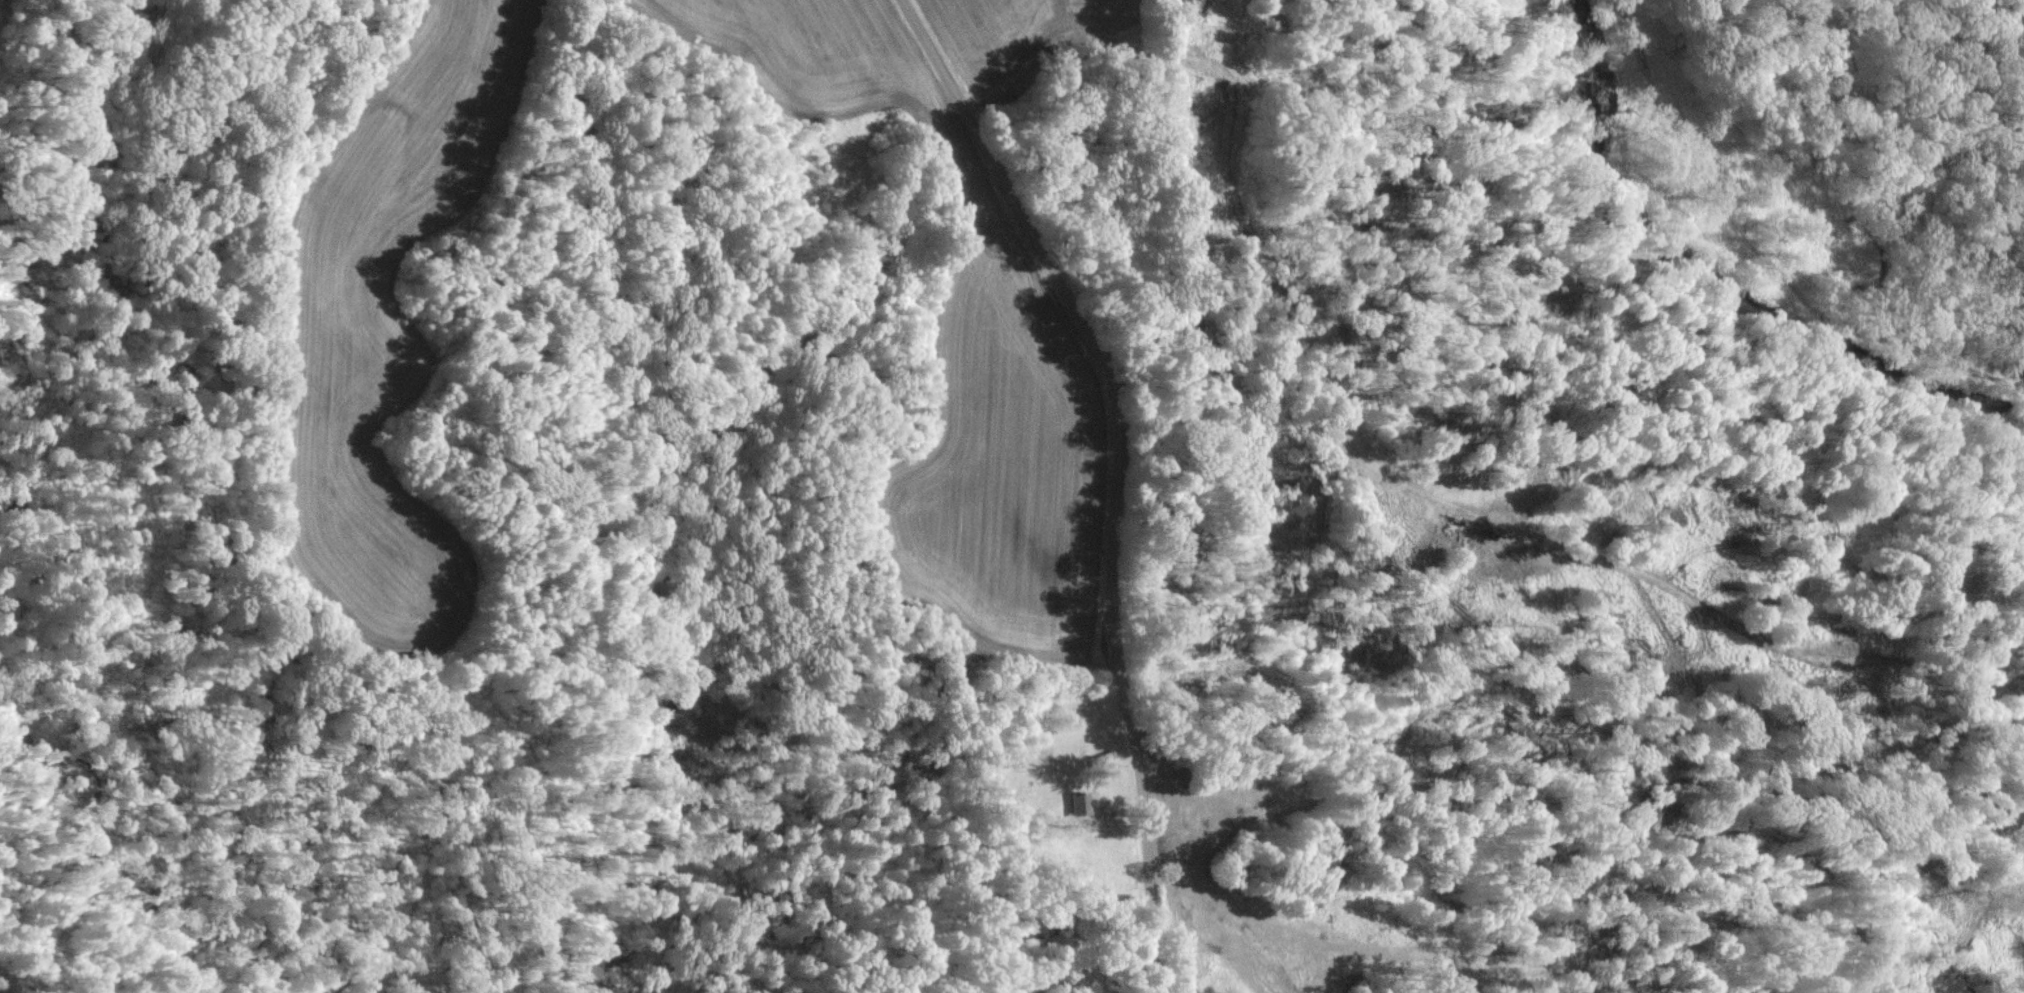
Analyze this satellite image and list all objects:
road: (1125, 465)

